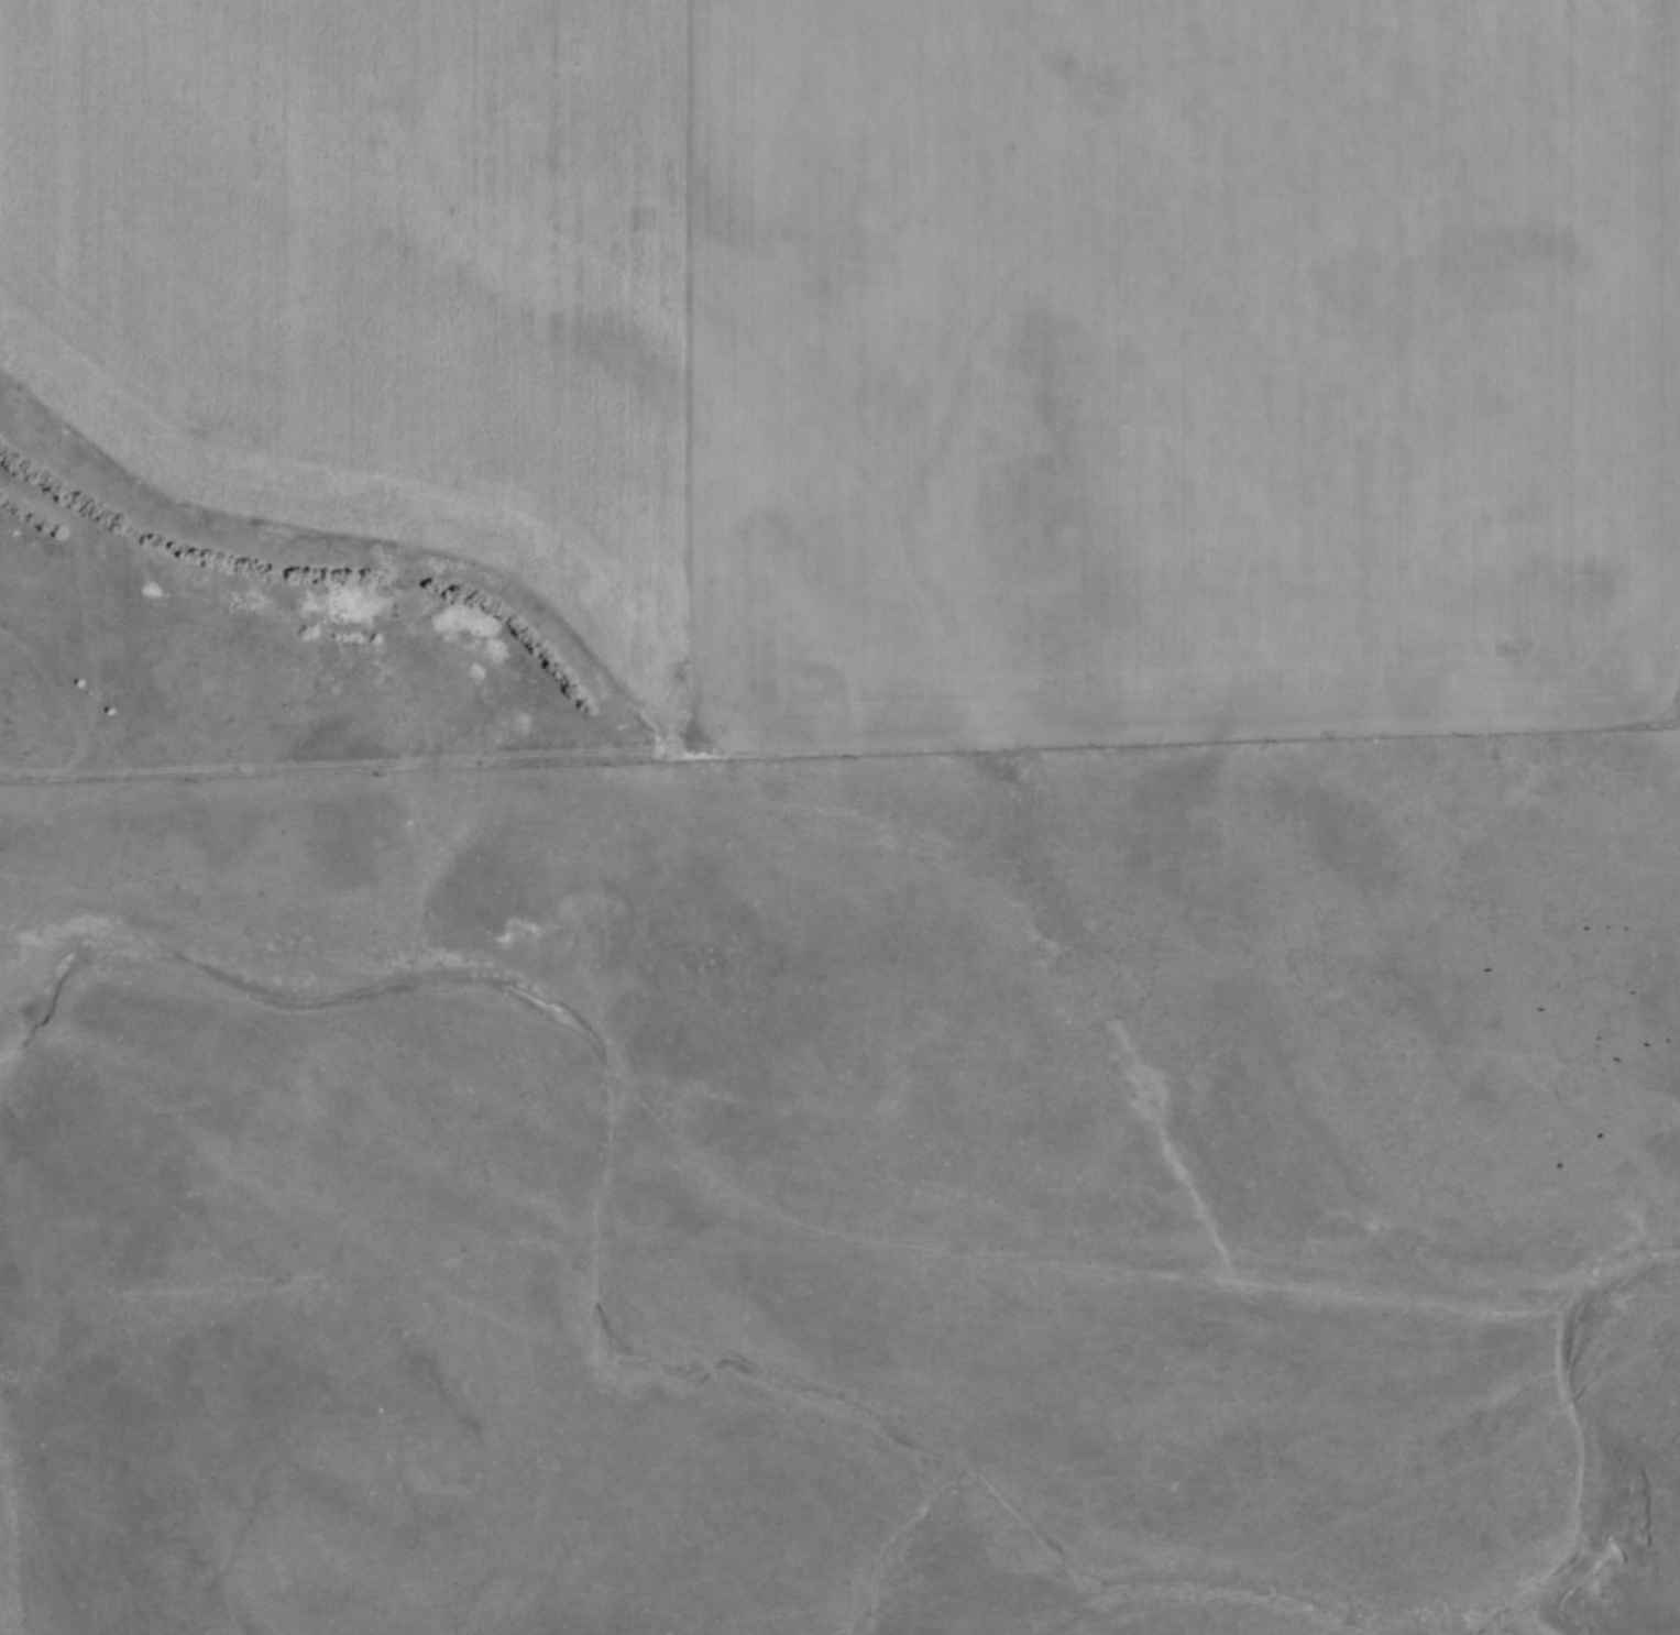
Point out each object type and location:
crop: (902, 327)

